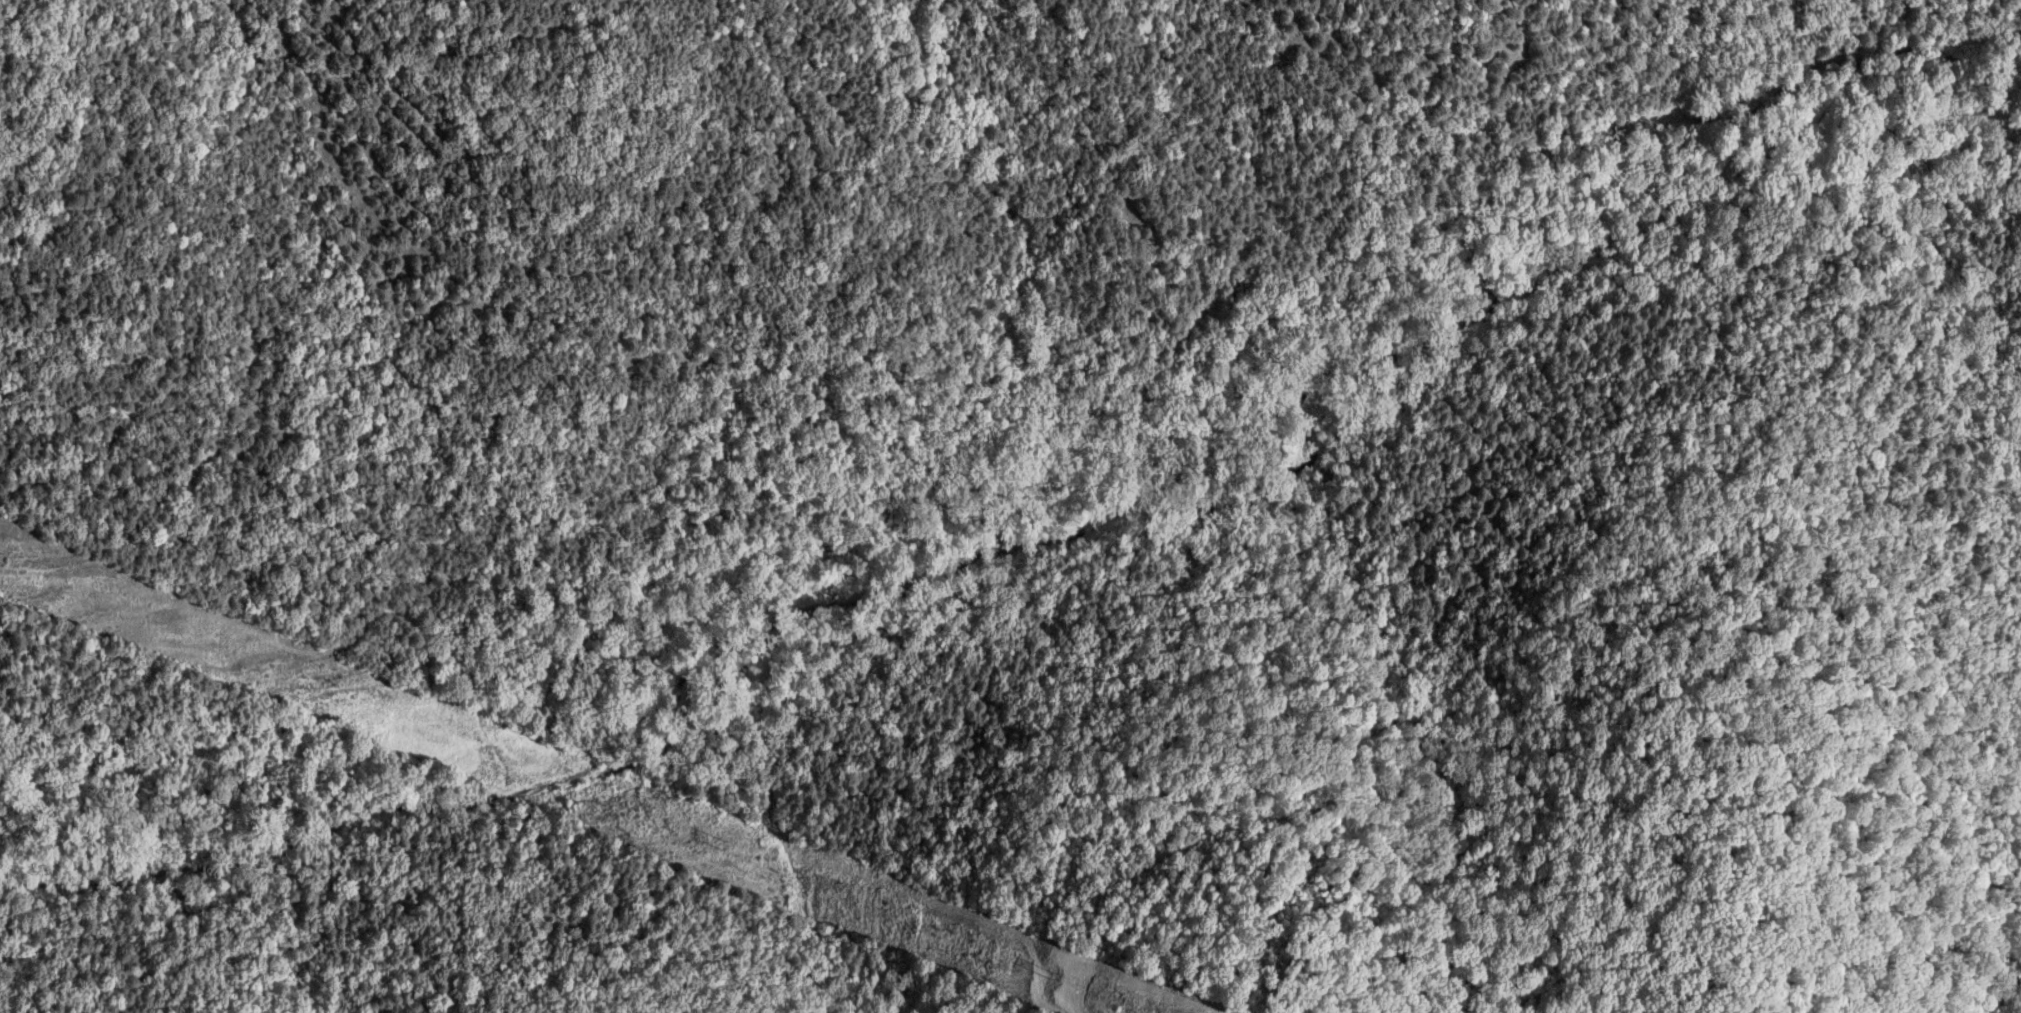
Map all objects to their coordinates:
power tower: (0, 556)
power tower: (1055, 976)

